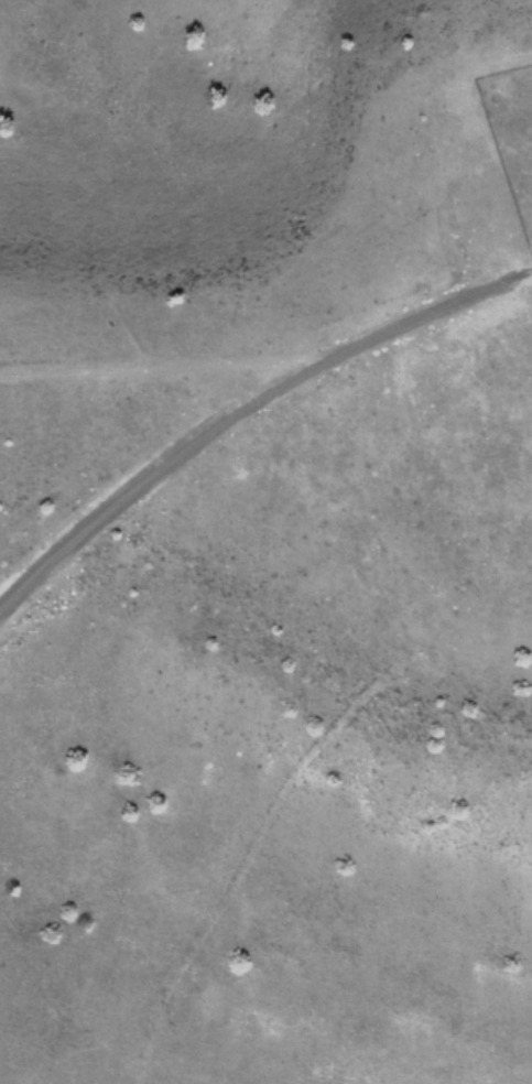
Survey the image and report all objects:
park: (513, 131)
road: (247, 406)

